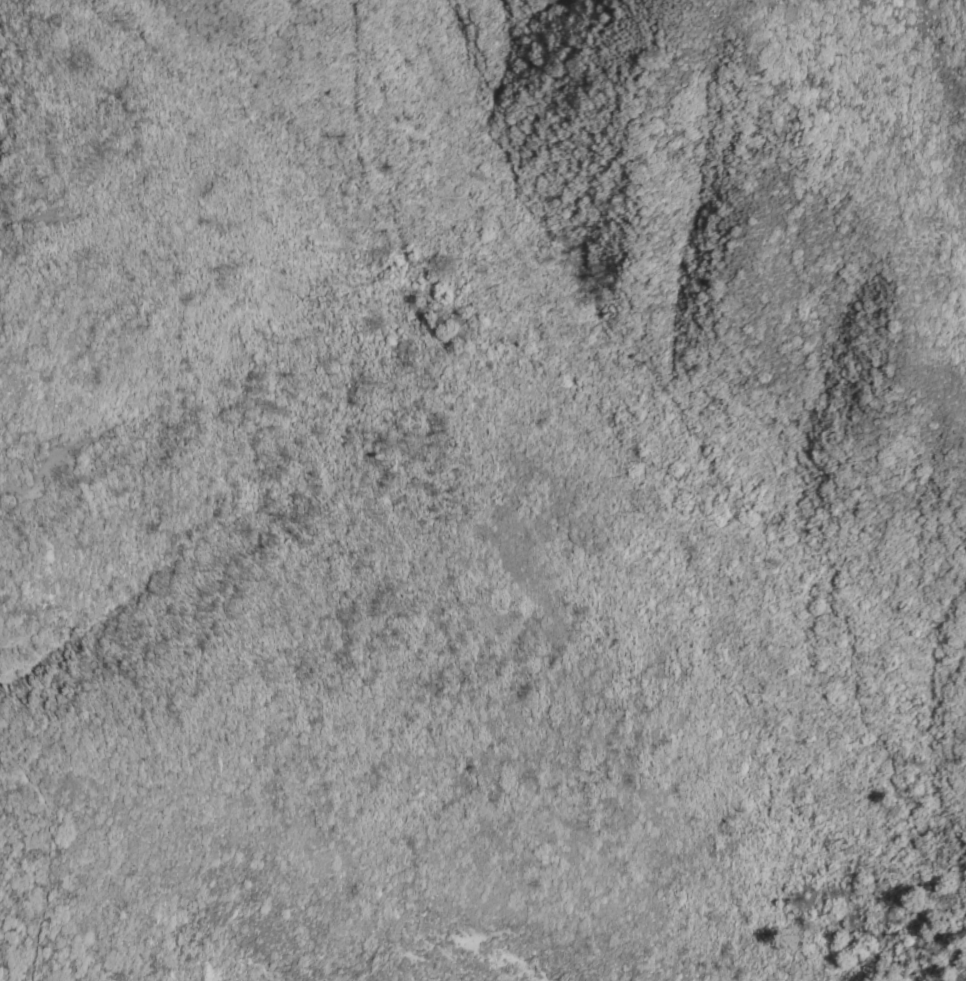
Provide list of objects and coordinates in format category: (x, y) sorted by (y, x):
road: (43, 860)

